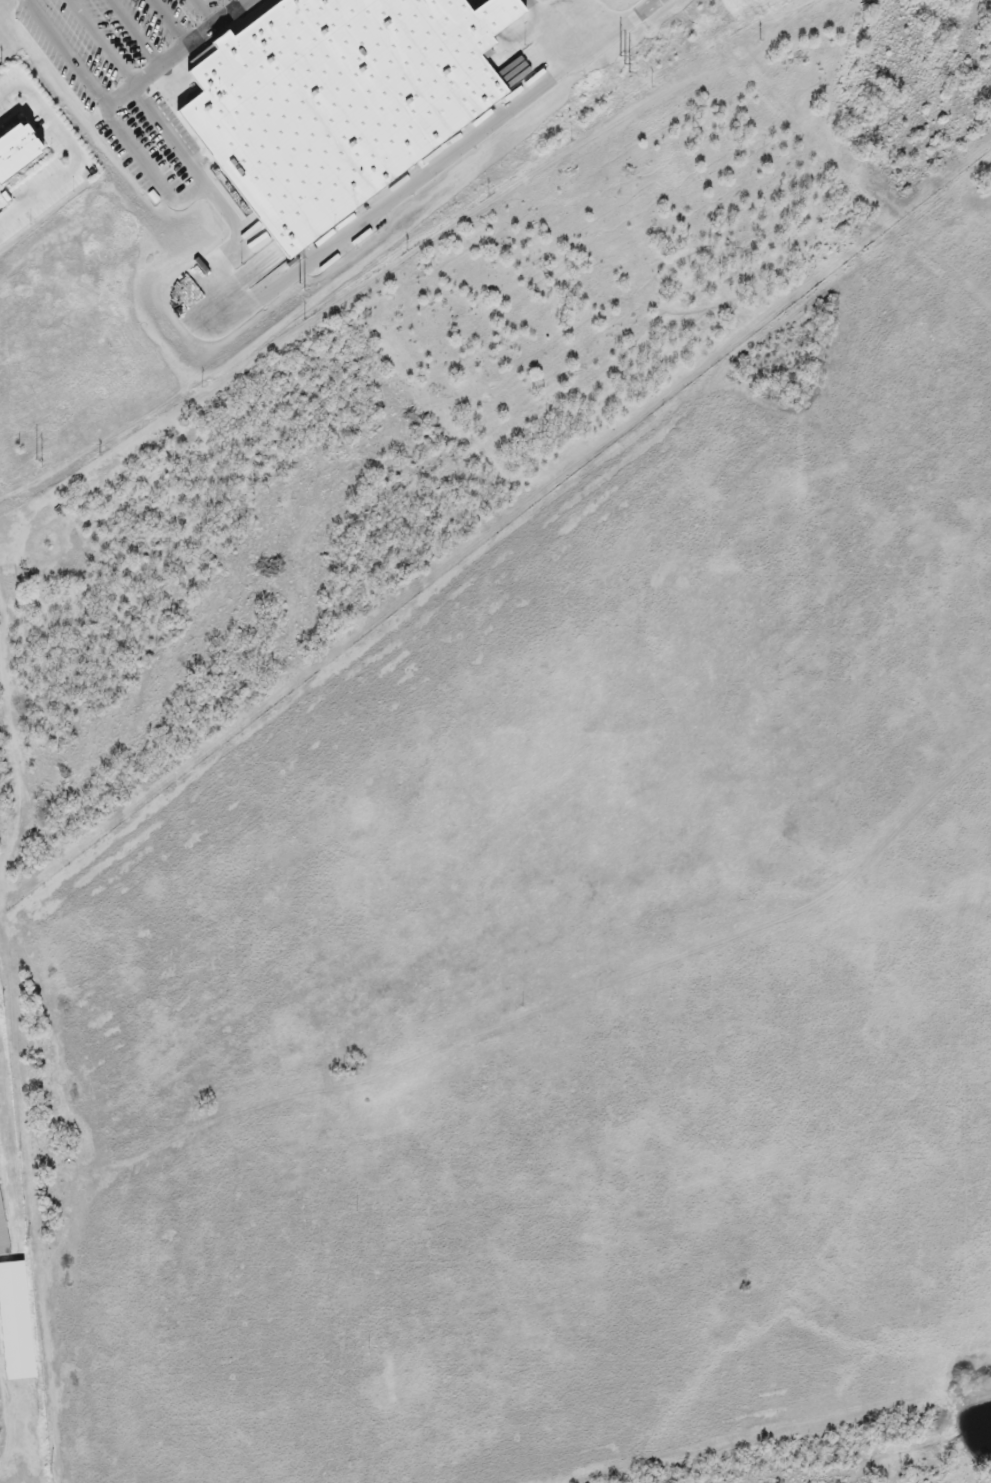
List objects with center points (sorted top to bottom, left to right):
road: (238, 3)
road: (203, 10)
road: (230, 13)
road: (136, 33)
road: (180, 37)
road: (102, 44)
road: (67, 56)
power tower: (631, 64)
building: (333, 102)
building: (20, 152)
road: (78, 154)
road: (157, 179)
power tower: (307, 284)
power tower: (43, 461)
road: (502, 1021)
building: (9, 1302)

